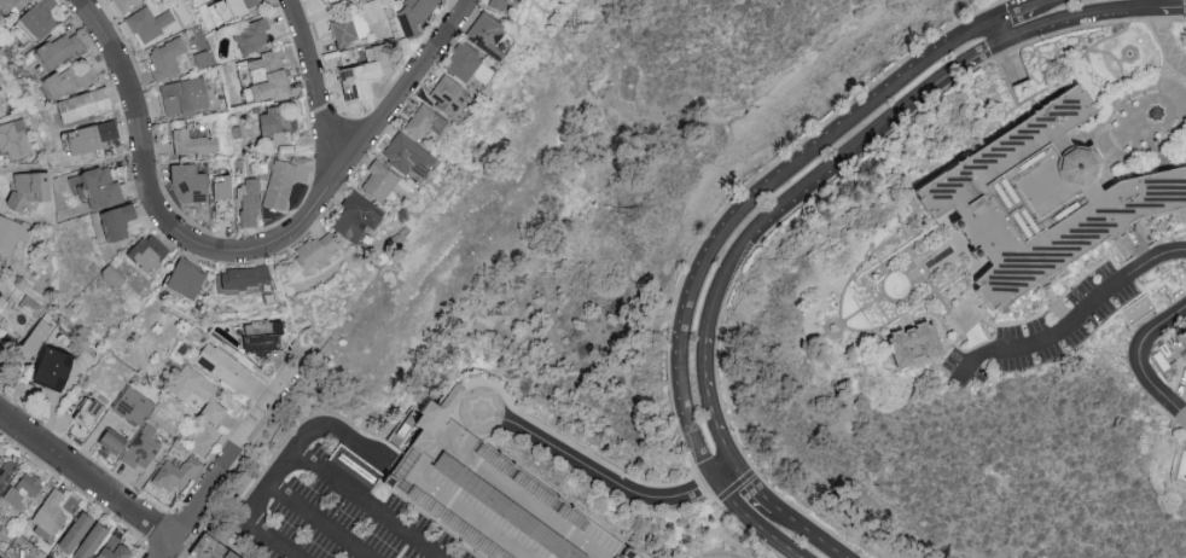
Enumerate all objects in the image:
building: (525, 0)
building: (330, 1)
road: (1050, 2)
building: (122, 4)
building: (502, 4)
building: (11, 5)
building: (232, 10)
road: (1017, 11)
building: (418, 13)
building: (40, 21)
building: (152, 25)
building: (350, 29)
building: (257, 35)
building: (490, 35)
building: (194, 37)
road: (1116, 39)
road: (1164, 42)
building: (63, 50)
building: (167, 58)
road: (1011, 59)
building: (466, 62)
road: (1185, 68)
building: (368, 74)
building: (268, 76)
road: (128, 79)
road: (1179, 81)
building: (59, 85)
park: (1127, 88)
road: (322, 94)
building: (450, 94)
building: (186, 97)
building: (88, 104)
building: (1, 106)
fountain: (1156, 115)
building: (280, 120)
building: (426, 122)
building: (93, 136)
building: (14, 139)
road: (1181, 141)
building: (193, 143)
road: (1100, 145)
building: (411, 155)
road: (957, 155)
building: (382, 181)
building: (190, 184)
building: (281, 185)
building: (80, 186)
building: (226, 187)
building: (33, 188)
building: (104, 188)
road: (797, 197)
road: (327, 200)
road: (750, 200)
building: (1037, 202)
building: (250, 203)
building: (360, 216)
road: (908, 220)
building: (121, 221)
building: (12, 236)
road: (1172, 242)
building: (319, 251)
building: (152, 252)
road: (882, 267)
road: (885, 271)
road: (914, 275)
building: (248, 277)
building: (190, 280)
road: (926, 281)
park: (895, 285)
road: (879, 298)
road: (896, 302)
road: (908, 304)
road: (857, 314)
road: (1076, 320)
road: (829, 324)
road: (936, 324)
road: (851, 330)
parking lot: (1042, 332)
building: (268, 337)
building: (1179, 339)
building: (913, 347)
building: (5, 349)
road: (1140, 365)
building: (223, 367)
building: (59, 368)
building: (202, 394)
building: (446, 409)
building: (92, 413)
building: (145, 429)
road: (341, 436)
building: (0, 455)
road: (576, 461)
road: (255, 463)
road: (304, 465)
road: (726, 471)
road: (219, 472)
building: (179, 473)
road: (86, 476)
road: (734, 486)
building: (25, 490)
parking lot: (330, 502)
building: (488, 502)
parking garage: (488, 502)
road: (527, 504)
road: (455, 513)
building: (51, 516)
road: (806, 517)
road: (316, 522)
road: (749, 523)
building: (80, 531)
road: (745, 531)
building: (95, 541)
building: (120, 550)
building: (210, 551)
road: (171, 553)

